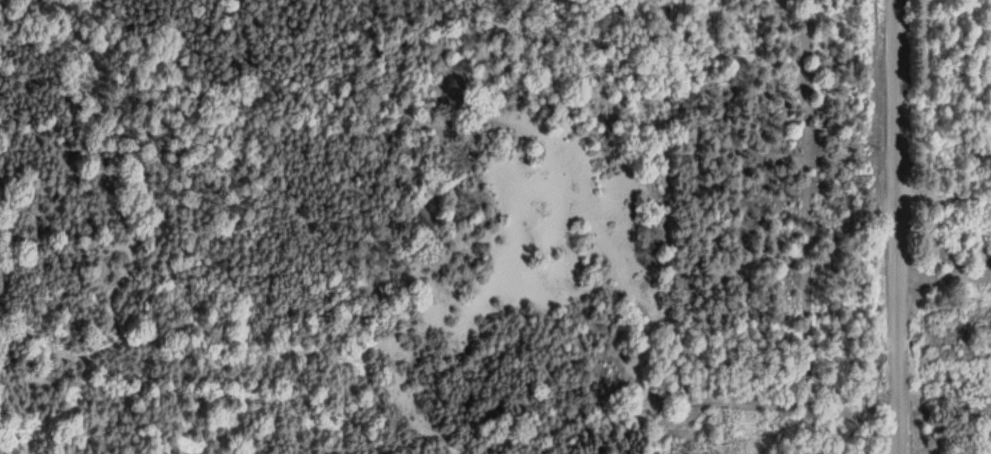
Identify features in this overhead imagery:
road: (936, 205)
road: (881, 226)

